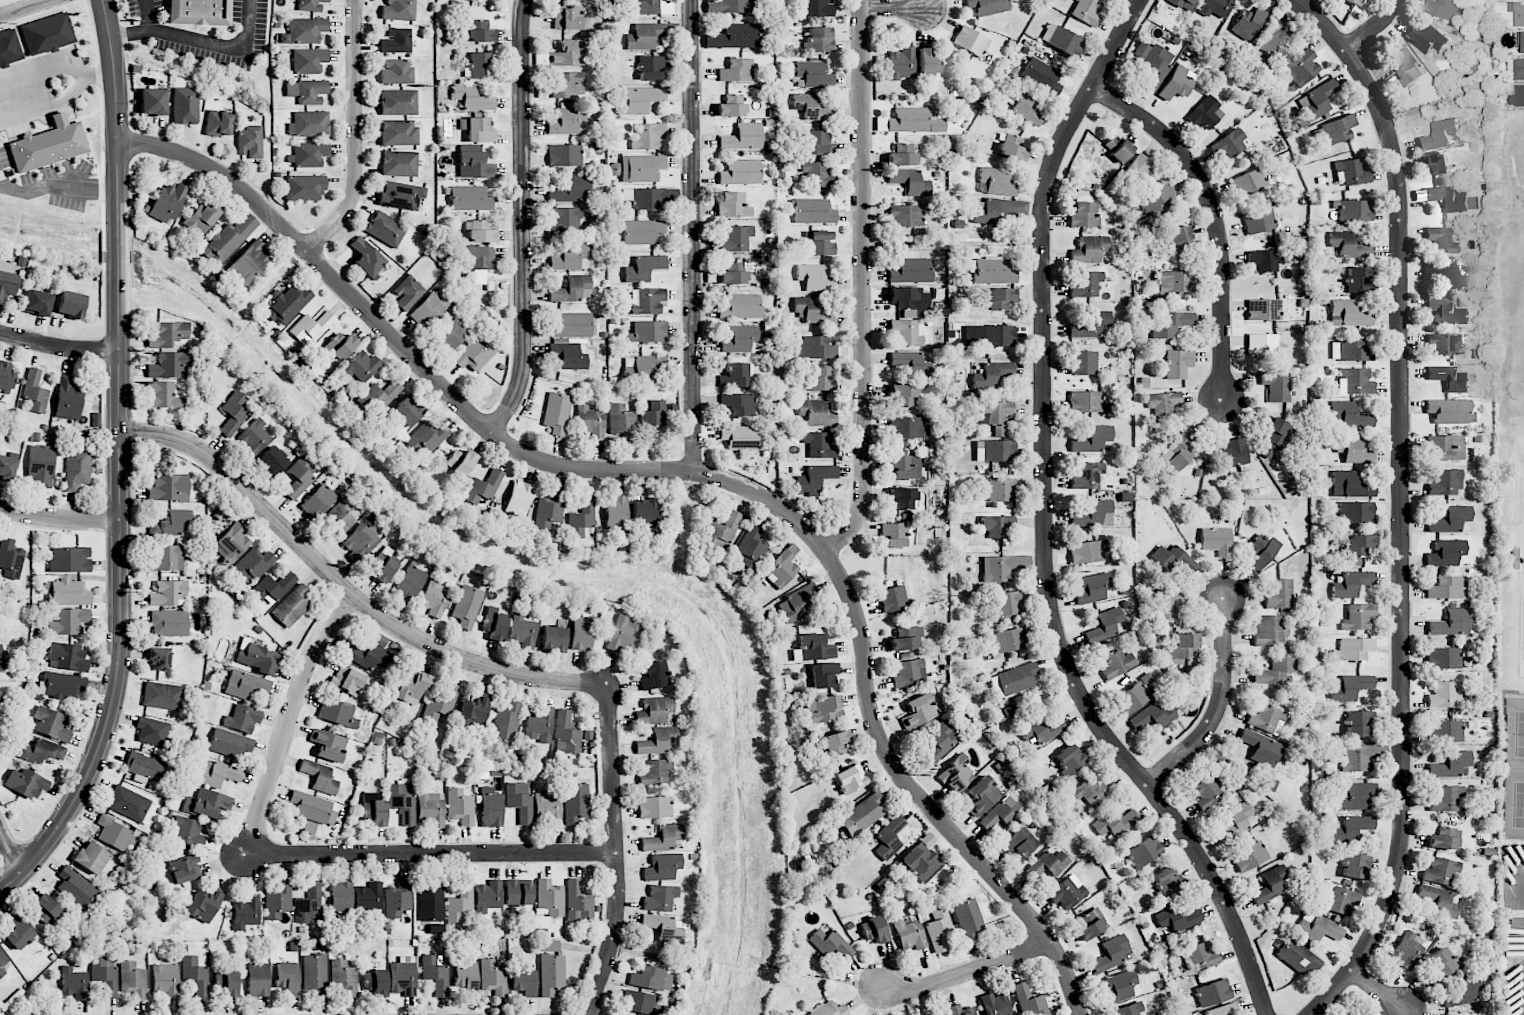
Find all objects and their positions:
building: (474, 0)
building: (1518, 0)
building: (1352, 1)
building: (1184, 4)
building: (311, 5)
building: (988, 6)
road: (22, 7)
building: (646, 7)
road: (895, 7)
building: (818, 8)
building: (1216, 8)
building: (1445, 8)
building: (398, 10)
building: (1087, 11)
building: (199, 12)
road: (147, 15)
building: (1520, 16)
building: (567, 18)
building: (1248, 23)
road: (1374, 26)
building: (303, 31)
building: (479, 32)
building: (48, 34)
building: (645, 36)
building: (733, 37)
building: (1273, 37)
building: (1427, 37)
building: (1521, 38)
building: (821, 39)
building: (1062, 40)
road: (199, 41)
building: (396, 41)
building: (970, 41)
building: (9, 48)
building: (568, 54)
building: (309, 60)
building: (928, 61)
building: (1152, 63)
building: (901, 64)
building: (1406, 64)
building: (480, 65)
building: (650, 67)
building: (1301, 68)
building: (1519, 69)
building: (737, 71)
road: (56, 72)
building: (396, 72)
building: (814, 74)
building: (1041, 76)
building: (1176, 83)
building: (565, 84)
building: (306, 91)
building: (1518, 96)
building: (472, 98)
building: (641, 99)
building: (1317, 100)
building: (153, 101)
building: (398, 102)
street lamp: (132, 104)
building: (1023, 105)
building: (185, 106)
building: (731, 106)
building: (809, 107)
building: (1205, 113)
building: (915, 121)
building: (568, 122)
building: (218, 123)
building: (310, 124)
building: (477, 130)
building: (1333, 131)
building: (398, 133)
road: (355, 134)
building: (1439, 135)
street lamp: (533, 137)
building: (647, 137)
building: (743, 137)
building: (249, 142)
building: (818, 143)
building: (1229, 144)
building: (49, 145)
building: (1011, 147)
building: (1117, 148)
building: (308, 154)
building: (564, 155)
building: (901, 155)
street lamp: (137, 160)
building: (1435, 163)
building: (399, 164)
building: (475, 165)
building: (644, 168)
building: (740, 172)
building: (1140, 172)
building: (1352, 172)
building: (818, 175)
building: (997, 181)
building: (910, 182)
building: (1248, 183)
building: (304, 187)
road: (58, 189)
building: (570, 189)
building: (402, 196)
building: (648, 198)
building: (469, 199)
building: (1451, 199)
building: (1157, 200)
building: (168, 202)
building: (732, 205)
building: (997, 210)
building: (1353, 210)
building: (814, 211)
building: (1082, 215)
building: (905, 216)
building: (200, 218)
road: (1216, 218)
building: (566, 219)
road: (522, 220)
building: (1258, 221)
street lamp: (348, 226)
building: (385, 229)
building: (480, 232)
building: (642, 232)
road: (693, 237)
building: (737, 238)
building: (228, 239)
building: (1180, 239)
building: (1442, 240)
building: (818, 243)
building: (1349, 245)
building: (1089, 249)
building: (571, 256)
building: (366, 257)
building: (1265, 260)
building: (248, 262)
building: (479, 262)
building: (644, 268)
building: (910, 271)
building: (993, 271)
building: (735, 273)
building: (814, 277)
building: (1450, 278)
building: (1359, 279)
building: (9, 280)
building: (1174, 282)
building: (1088, 283)
road: (864, 284)
building: (572, 290)
building: (407, 292)
building: (999, 298)
building: (908, 300)
building: (646, 301)
building: (38, 303)
building: (287, 303)
building: (71, 304)
building: (431, 306)
building: (741, 307)
building: (808, 308)
building: (1266, 309)
building: (1447, 311)
building: (1348, 314)
building: (570, 325)
building: (1091, 325)
building: (1171, 325)
building: (311, 328)
building: (648, 332)
building: (170, 333)
building: (907, 333)
building: (451, 336)
building: (989, 336)
building: (739, 339)
building: (1442, 344)
building: (1261, 345)
building: (340, 346)
road: (58, 347)
building: (814, 348)
building: (1350, 350)
building: (474, 355)
street lamp: (100, 361)
building: (1083, 363)
building: (1178, 363)
building: (911, 364)
building: (168, 365)
building: (362, 367)
building: (639, 368)
building: (991, 375)
building: (6, 377)
building: (822, 378)
building: (1450, 378)
building: (1355, 381)
building: (1275, 385)
building: (35, 392)
building: (163, 395)
building: (903, 395)
building: (380, 396)
building: (68, 398)
building: (1086, 402)
building: (1162, 403)
building: (739, 405)
building: (409, 410)
building: (995, 411)
building: (1450, 411)
building: (557, 413)
building: (817, 413)
building: (233, 414)
building: (1348, 416)
building: (652, 420)
building: (590, 421)
building: (622, 422)
street lamp: (103, 425)
building: (909, 428)
street lamp: (511, 430)
building: (428, 437)
building: (741, 437)
building: (253, 438)
building: (1092, 440)
building: (819, 445)
building: (1445, 448)
building: (1353, 449)
building: (1178, 450)
building: (995, 451)
building: (1232, 454)
building: (272, 461)
road: (118, 462)
building: (460, 462)
building: (41, 466)
building: (901, 467)
building: (7, 468)
building: (77, 469)
road: (696, 474)
building: (1086, 475)
building: (300, 476)
building: (815, 479)
building: (1444, 483)
building: (1350, 485)
building: (483, 487)
building: (168, 488)
building: (1000, 490)
building: (518, 498)
building: (903, 498)
building: (318, 501)
road: (1403, 503)
building: (548, 510)
building: (1356, 512)
building: (615, 513)
building: (1099, 513)
building: (644, 514)
road: (59, 519)
building: (339, 519)
building: (581, 519)
building: (1450, 520)
building: (174, 522)
road: (1044, 525)
building: (997, 526)
building: (721, 532)
building: (894, 535)
building: (361, 541)
building: (1215, 541)
building: (233, 543)
building: (750, 548)
building: (1358, 548)
building: (1261, 550)
building: (1088, 551)
building: (1446, 553)
building: (11, 558)
building: (166, 558)
building: (69, 559)
building: (1172, 559)
building: (253, 565)
building: (384, 565)
building: (1001, 567)
building: (781, 569)
building: (409, 583)
building: (1352, 584)
building: (273, 587)
road: (346, 588)
building: (1093, 588)
building: (1445, 588)
building: (68, 593)
building: (168, 593)
building: (1277, 594)
building: (434, 599)
building: (892, 599)
building: (795, 604)
building: (1006, 604)
building: (292, 606)
building: (467, 606)
building: (1167, 606)
building: (1359, 617)
building: (68, 621)
building: (169, 623)
building: (1451, 623)
building: (494, 624)
building: (1104, 626)
building: (1269, 631)
building: (523, 632)
building: (582, 633)
building: (623, 634)
building: (906, 638)
building: (554, 639)
building: (1010, 640)
building: (1183, 646)
building: (813, 648)
building: (1354, 649)
building: (368, 656)
building: (67, 657)
building: (158, 658)
building: (2, 659)
building: (257, 659)
building: (1444, 659)
building: (1116, 664)
building: (1275, 671)
building: (909, 674)
building: (823, 675)
building: (654, 676)
building: (1016, 679)
building: (348, 681)
building: (245, 684)
building: (61, 685)
building: (412, 686)
building: (1350, 687)
building: (1133, 695)
building: (1445, 695)
building: (162, 696)
building: (440, 703)
road: (1219, 707)
building: (823, 709)
building: (654, 711)
building: (918, 711)
building: (474, 712)
building: (338, 713)
building: (1152, 717)
building: (242, 719)
building: (1266, 719)
road: (290, 720)
building: (1359, 723)
building: (51, 724)
building: (505, 724)
building: (539, 724)
building: (1041, 730)
building: (152, 731)
building: (1446, 731)
building: (567, 733)
park: (1514, 734)
building: (658, 741)
building: (941, 741)
building: (834, 743)
building: (230, 744)
building: (328, 745)
building: (1261, 748)
building: (41, 751)
building: (1356, 758)
building: (1070, 760)
building: (1451, 765)
building: (145, 767)
building: (654, 772)
building: (955, 774)
building: (219, 775)
building: (319, 777)
building: (850, 779)
building: (27, 784)
building: (1091, 790)
building: (1207, 792)
building: (982, 795)
building: (1357, 796)
building: (1445, 799)
building: (402, 801)
building: (519, 801)
park: (1513, 802)
building: (575, 803)
building: (129, 804)
building: (207, 804)
building: (460, 807)
building: (654, 807)
building: (312, 808)
building: (373, 808)
building: (490, 808)
building: (431, 809)
building: (547, 809)
building: (1003, 813)
building: (862, 815)
building: (1235, 822)
building: (1114, 823)
building: (309, 827)
building: (1352, 829)
building: (187, 831)
building: (115, 834)
building: (663, 837)
building: (889, 838)
building: (1444, 839)
building: (1019, 842)
road: (10, 850)
building: (1144, 852)
road: (618, 853)
road: (432, 854)
building: (1248, 856)
building: (91, 857)
building: (921, 862)
street lamp: (1, 864)
building: (1049, 864)
building: (1355, 866)
building: (662, 867)
building: (185, 869)
building: (1440, 871)
building: (1166, 881)
building: (1270, 884)
building: (76, 887)
building: (1067, 892)
building: (517, 893)
building: (341, 896)
building: (488, 896)
building: (369, 897)
building: (550, 897)
building: (660, 898)
building: (398, 899)
building: (277, 900)
building: (1341, 900)
building: (431, 901)
building: (1439, 901)
building: (578, 903)
building: (309, 904)
building: (461, 904)
building: (204, 905)
road: (1517, 907)
building: (46, 908)
building: (246, 913)
building: (1177, 917)
building: (968, 920)
building: (1090, 923)
building: (663, 925)
building: (937, 928)
building: (1318, 928)
building: (874, 930)
building: (19, 933)
building: (909, 935)
building: (830, 944)
building: (549, 946)
building: (1407, 950)
building: (1112, 954)
building: (1200, 955)
building: (1297, 957)
building: (2, 964)
building: (1441, 964)
road: (971, 972)
building: (196, 973)
building: (551, 973)
building: (315, 974)
building: (435, 974)
building: (104, 976)
building: (403, 976)
building: (345, 977)
building: (466, 977)
building: (287, 978)
building: (493, 978)
building: (133, 979)
building: (652, 979)
building: (165, 980)
building: (258, 980)
building: (74, 981)
building: (523, 982)
building: (226, 983)
building: (375, 983)
building: (1119, 987)
building: (1463, 991)
building: (1212, 993)
road: (1380, 993)
building: (1030, 1001)
building: (639, 1003)
building: (996, 1004)
building: (1128, 1009)
building: (828, 1010)
building: (960, 1010)
building: (1222, 1010)
building: (927, 1014)
building: (1447, 1014)

